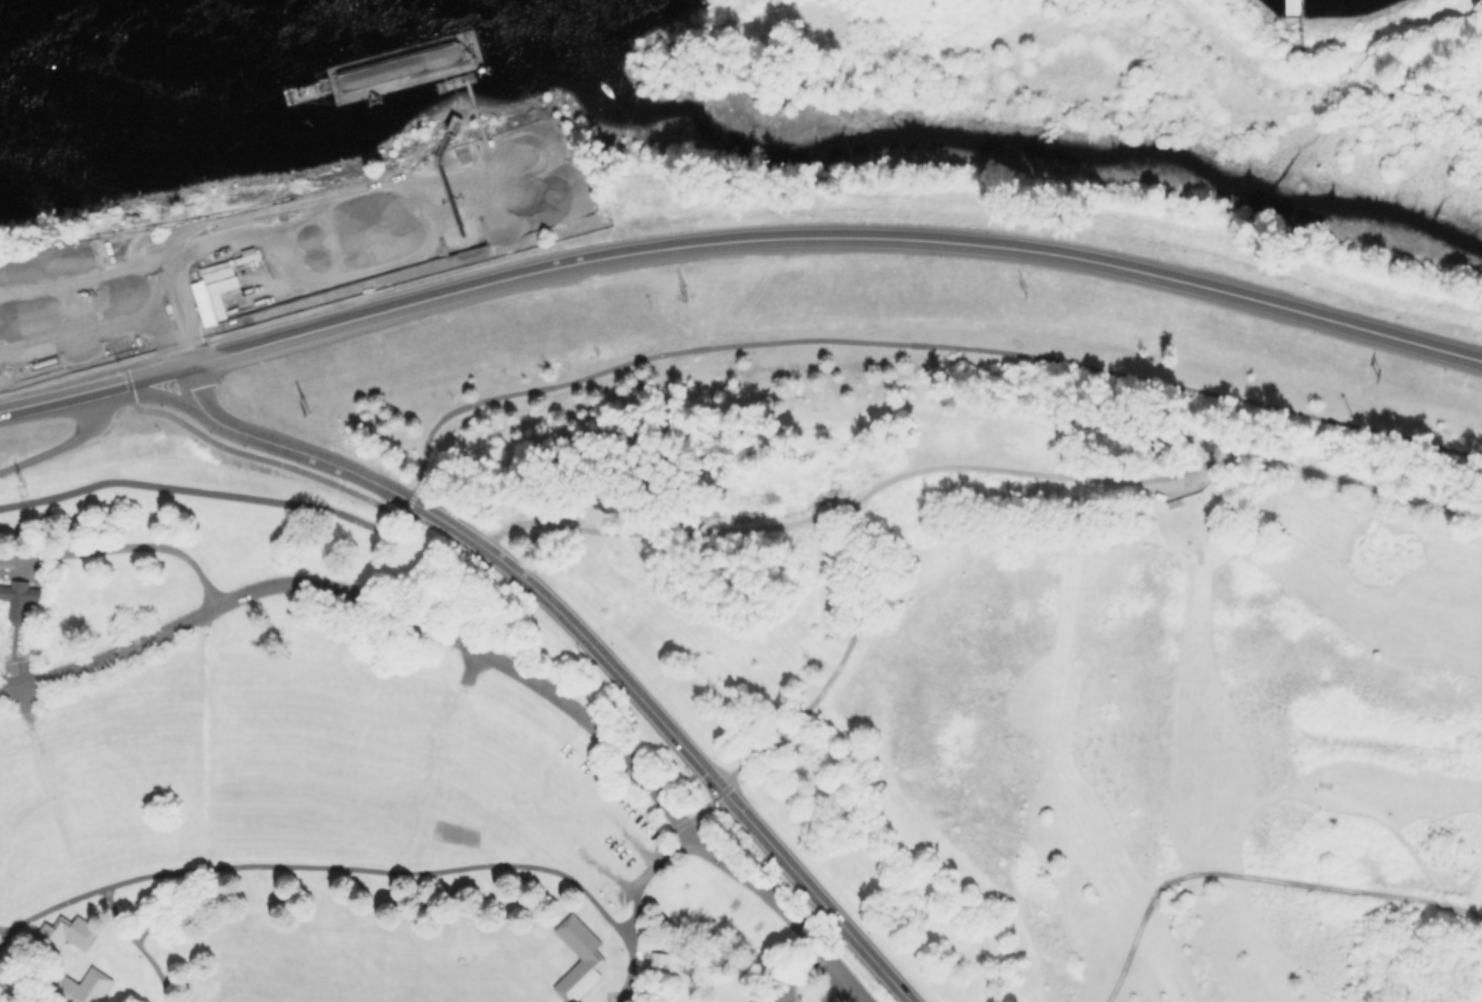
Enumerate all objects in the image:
building: (1291, 7)
park: (1119, 76)
park: (1033, 215)
road: (832, 238)
road: (182, 249)
road: (108, 268)
building: (215, 294)
road: (908, 345)
road: (155, 374)
road: (189, 389)
road: (164, 395)
road: (63, 396)
road: (64, 444)
road: (306, 454)
road: (255, 458)
road: (977, 466)
road: (201, 492)
road: (121, 551)
road: (1235, 553)
building: (18, 596)
road: (375, 601)
park: (1048, 679)
road: (352, 685)
road: (22, 697)
road: (805, 708)
road: (335, 726)
road: (673, 737)
road: (203, 739)
road: (232, 774)
park: (346, 789)
road: (1253, 802)
road: (52, 803)
road: (708, 816)
road: (397, 828)
road: (119, 840)
road: (320, 864)
road: (1256, 876)
road: (169, 903)
road: (634, 908)
road: (784, 910)
building: (64, 931)
road: (137, 943)
road: (1176, 948)
building: (656, 954)
building: (578, 957)
building: (78, 986)
road: (837, 991)

